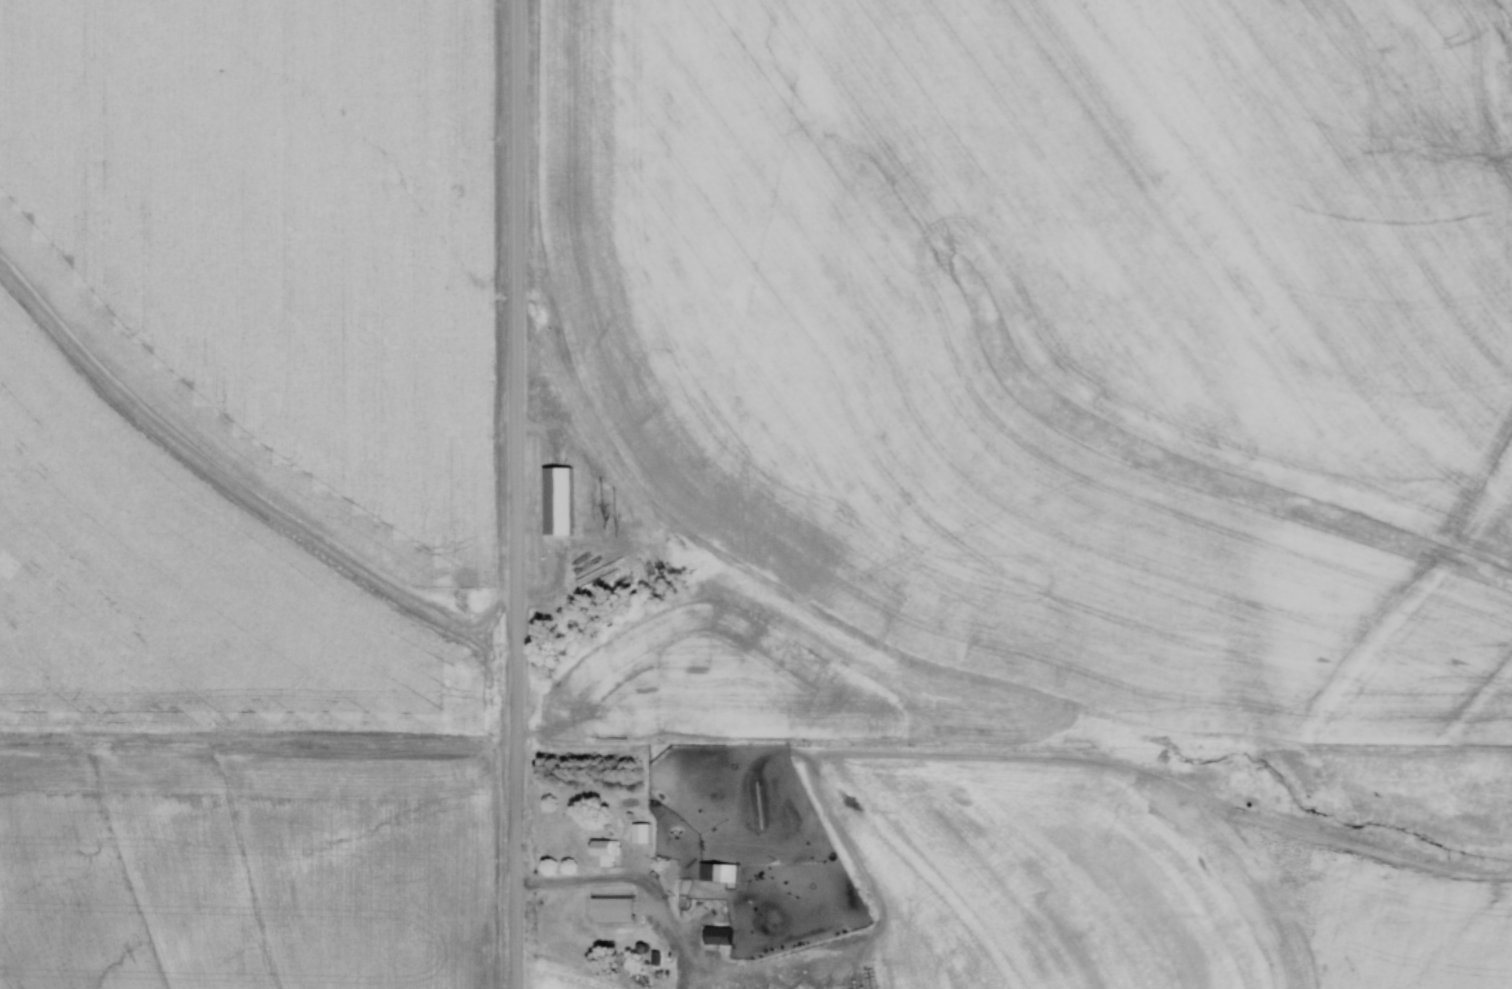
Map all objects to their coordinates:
road: (515, 494)
building: (556, 501)
building: (640, 832)
building: (603, 852)
building: (716, 872)
building: (611, 906)
building: (716, 936)

